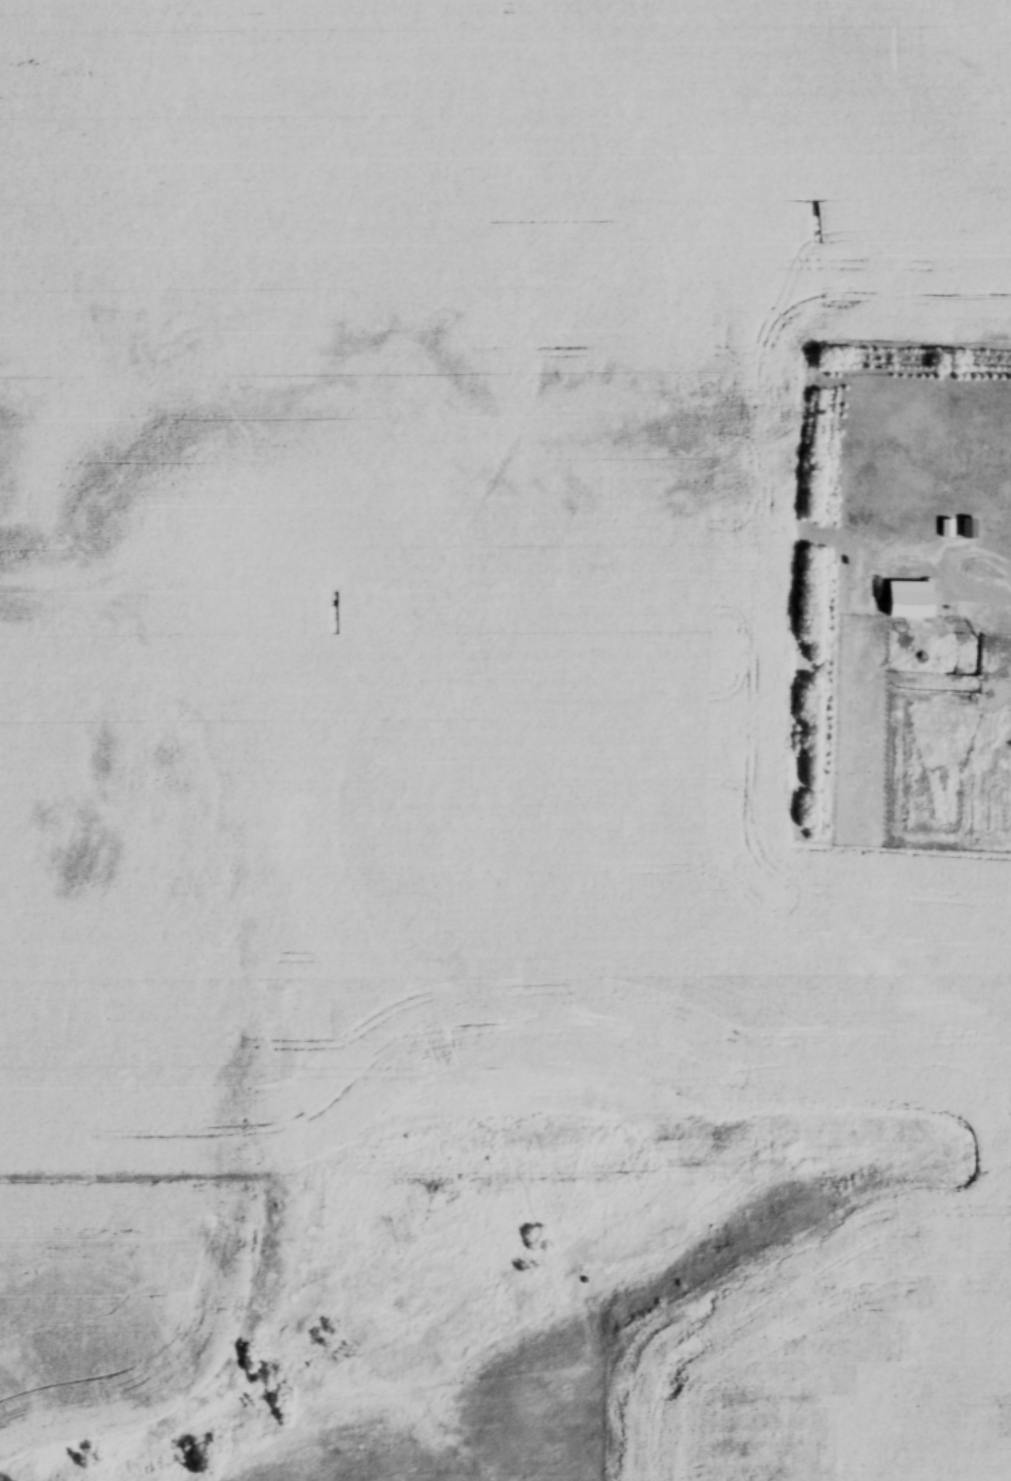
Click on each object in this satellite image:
building: (910, 601)

